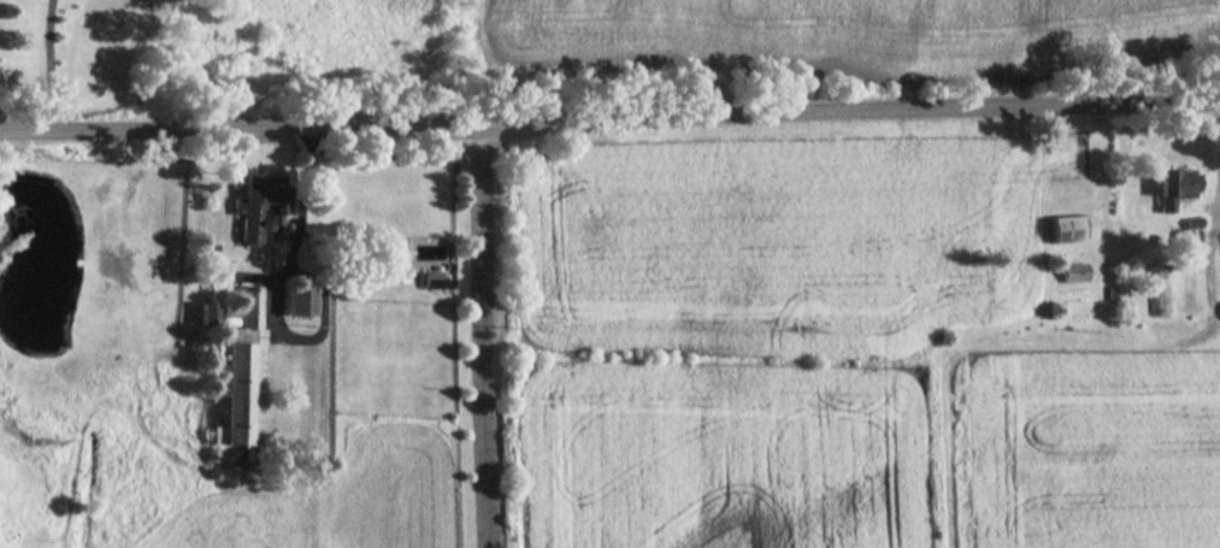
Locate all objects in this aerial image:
road: (48, 66)
road: (609, 122)
building: (1173, 187)
building: (1072, 228)
road: (297, 234)
building: (1190, 234)
building: (1075, 271)
building: (435, 281)
building: (299, 300)
building: (207, 312)
road: (481, 336)
building: (243, 373)

